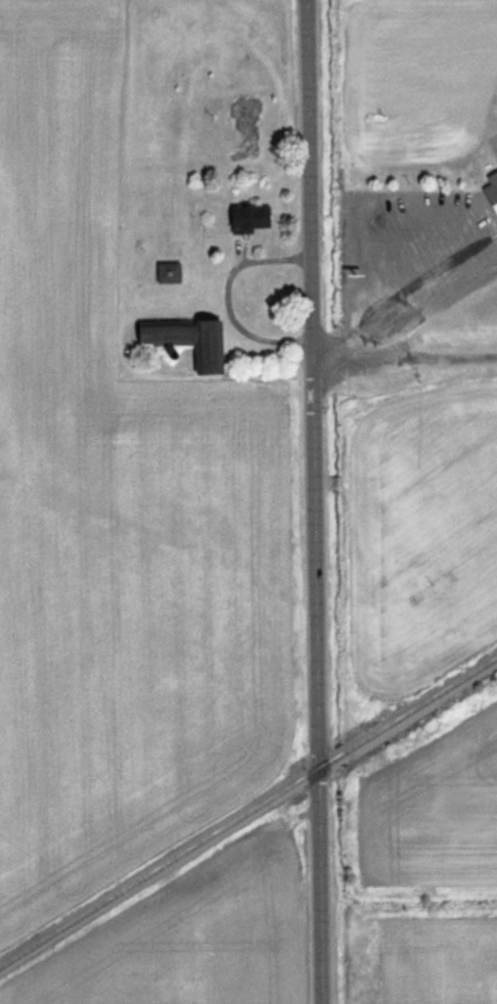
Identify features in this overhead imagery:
building: (492, 187)
building: (252, 216)
building: (170, 271)
road: (225, 294)
building: (190, 339)
road: (315, 501)
railway: (248, 811)

